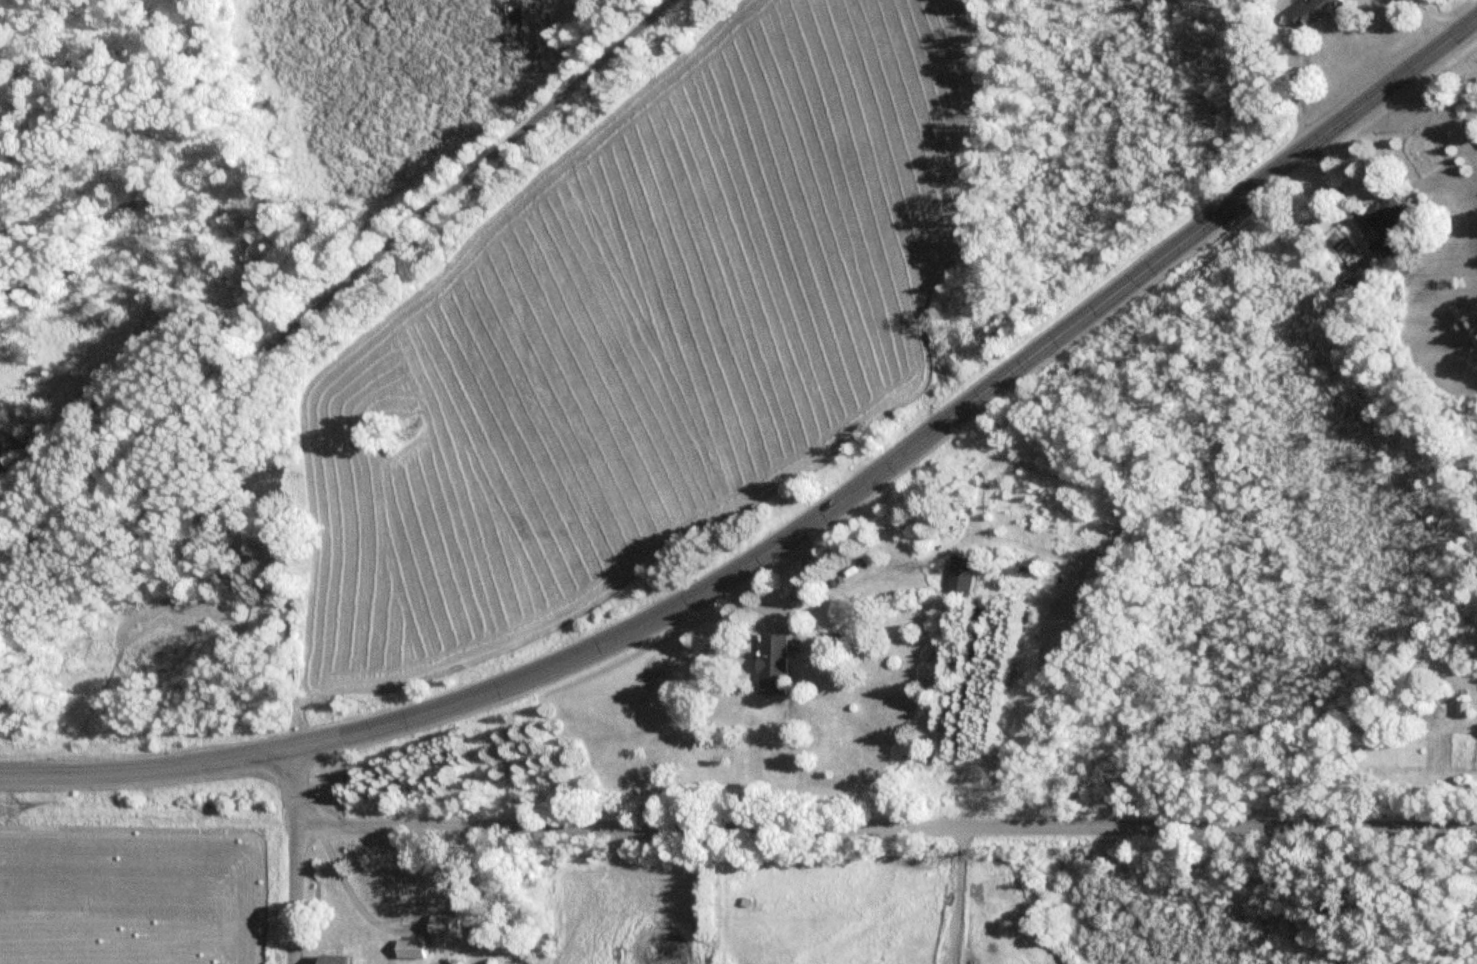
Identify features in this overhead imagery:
building: (1322, 10)
building: (1385, 227)
road: (332, 288)
road: (912, 442)
building: (966, 574)
building: (781, 664)
road: (142, 767)
road: (886, 825)
road: (294, 858)
building: (453, 924)
building: (416, 948)
building: (345, 959)

